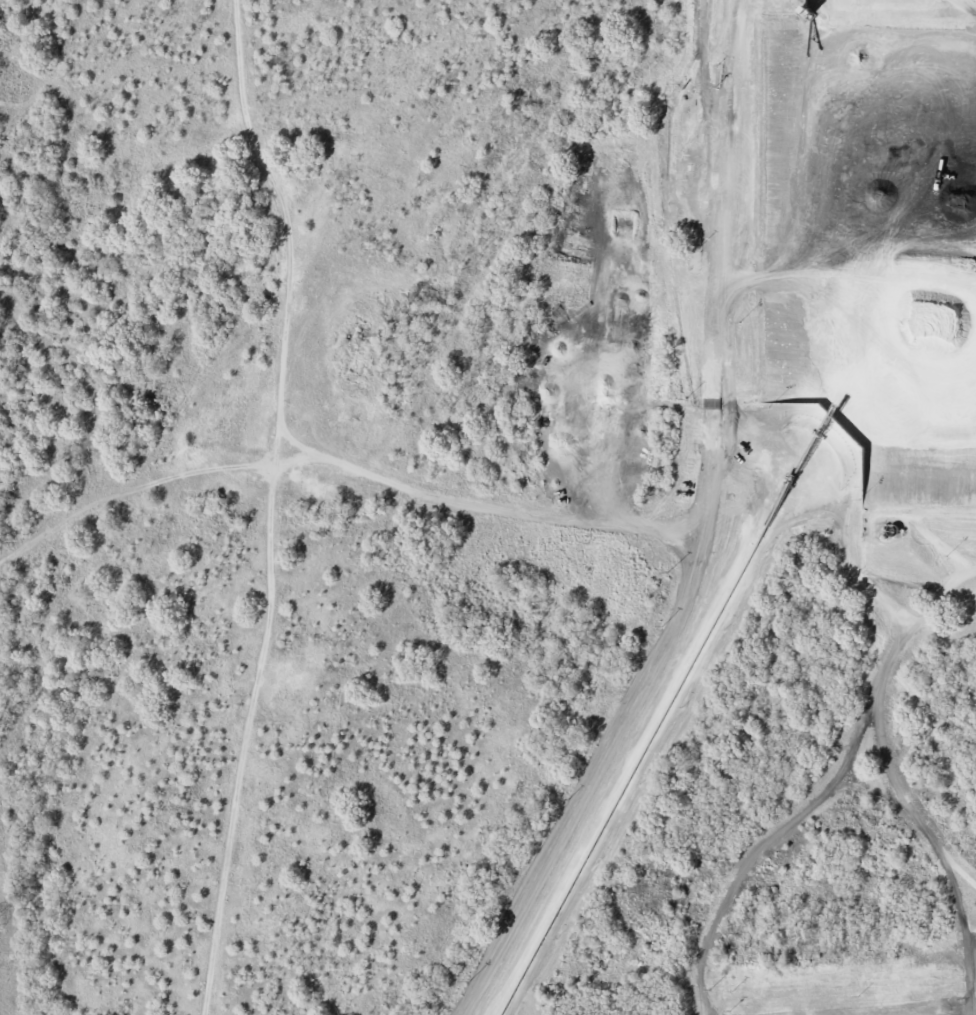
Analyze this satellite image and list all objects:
road: (164, 482)
road: (478, 505)
road: (274, 506)
road: (701, 536)

